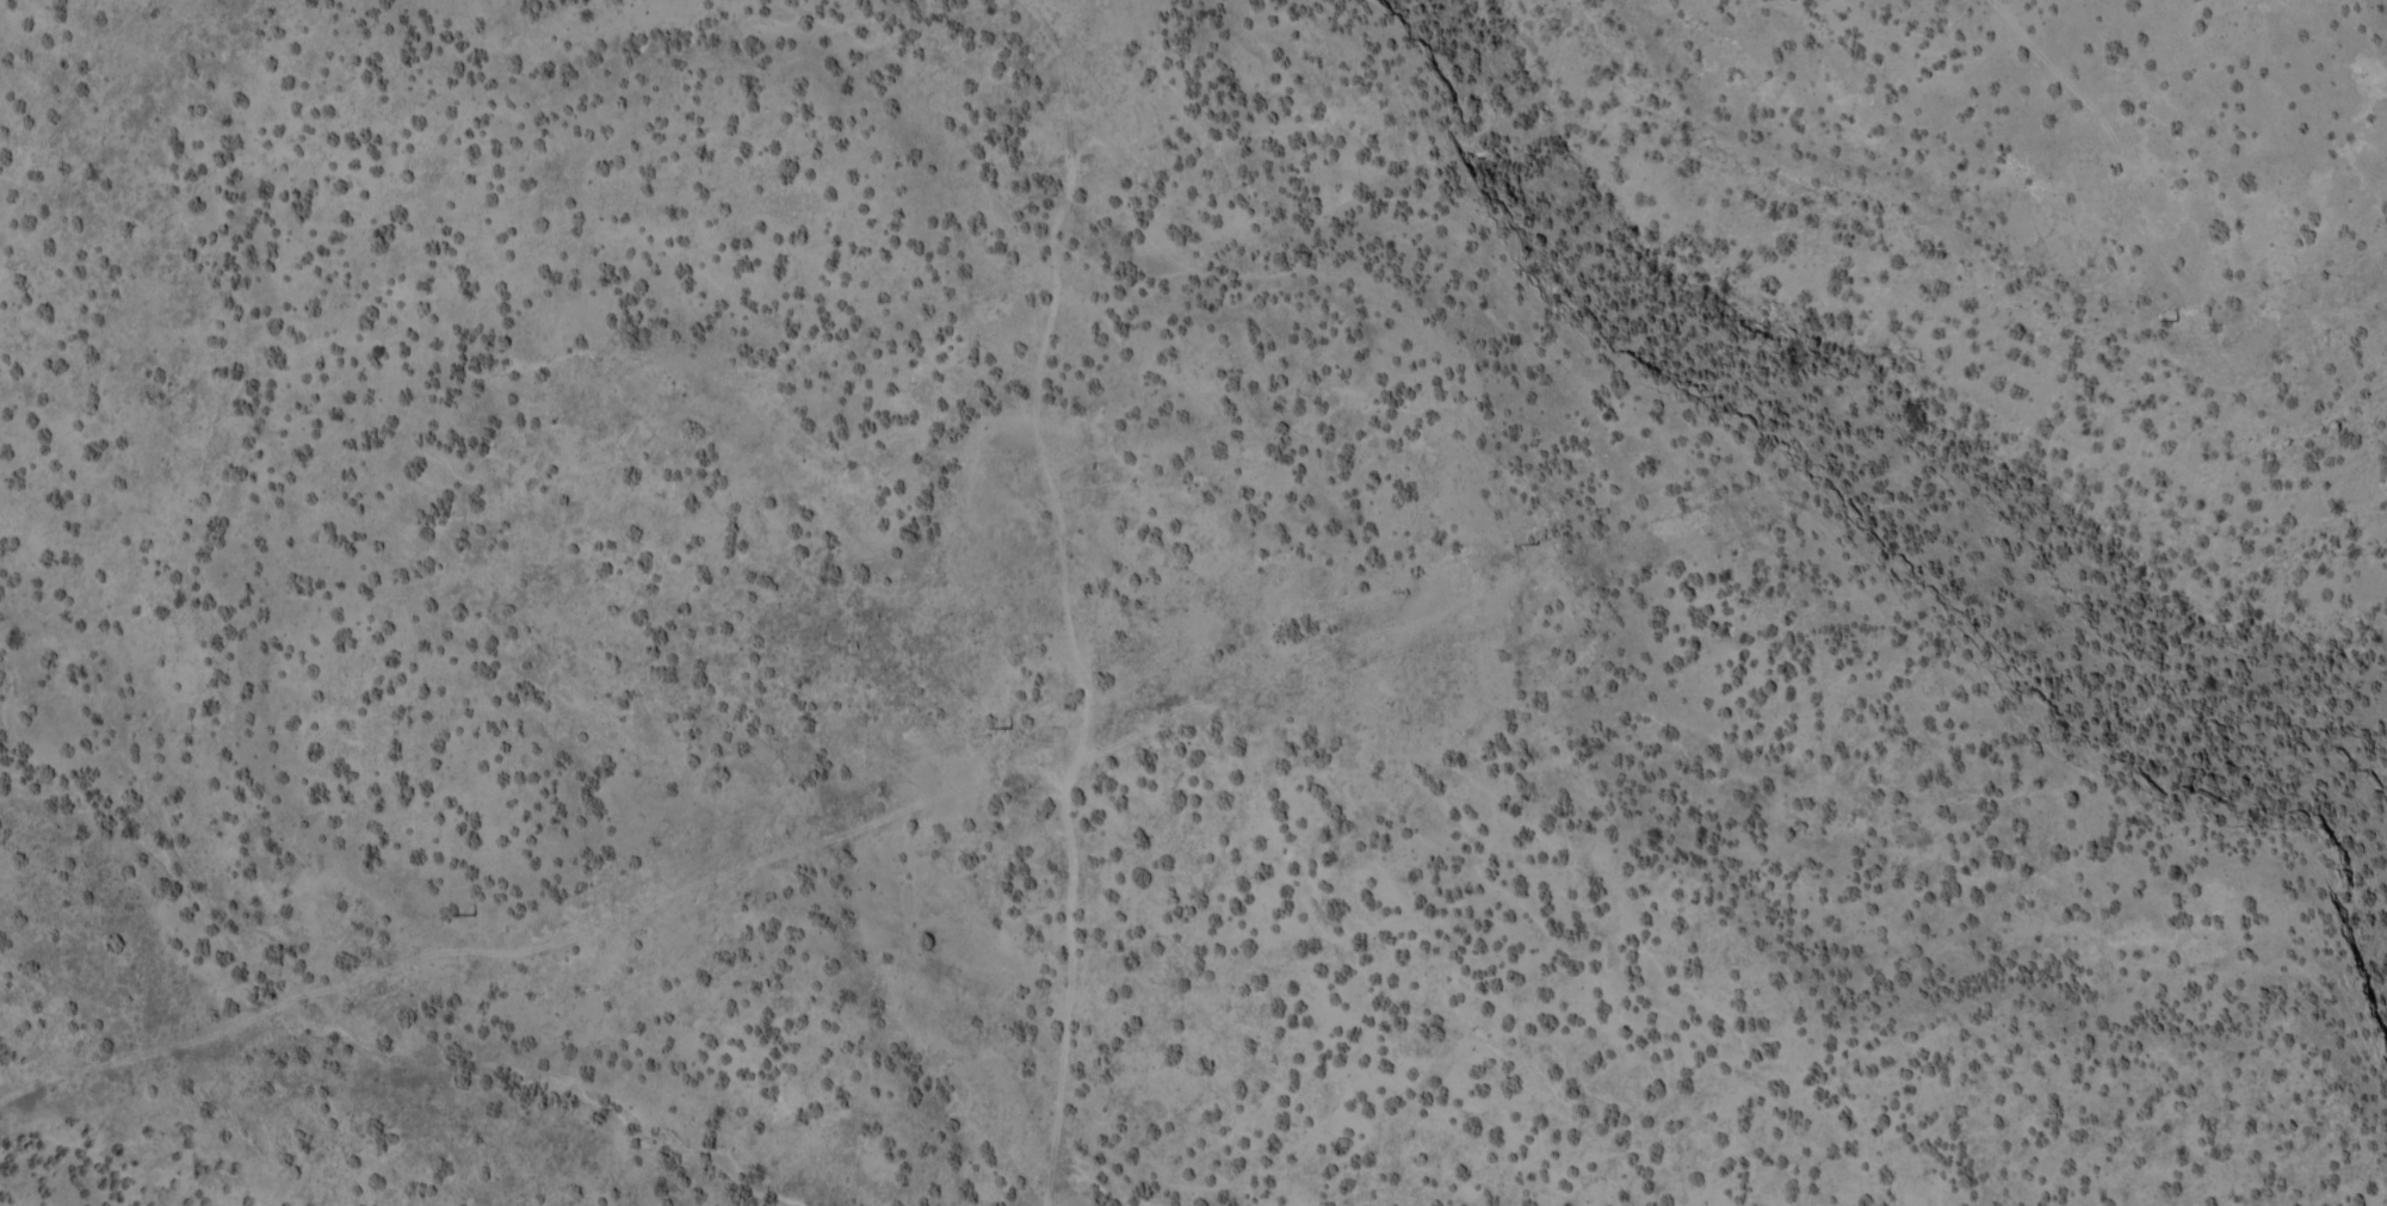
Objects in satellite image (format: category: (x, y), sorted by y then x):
road: (1108, 589)

